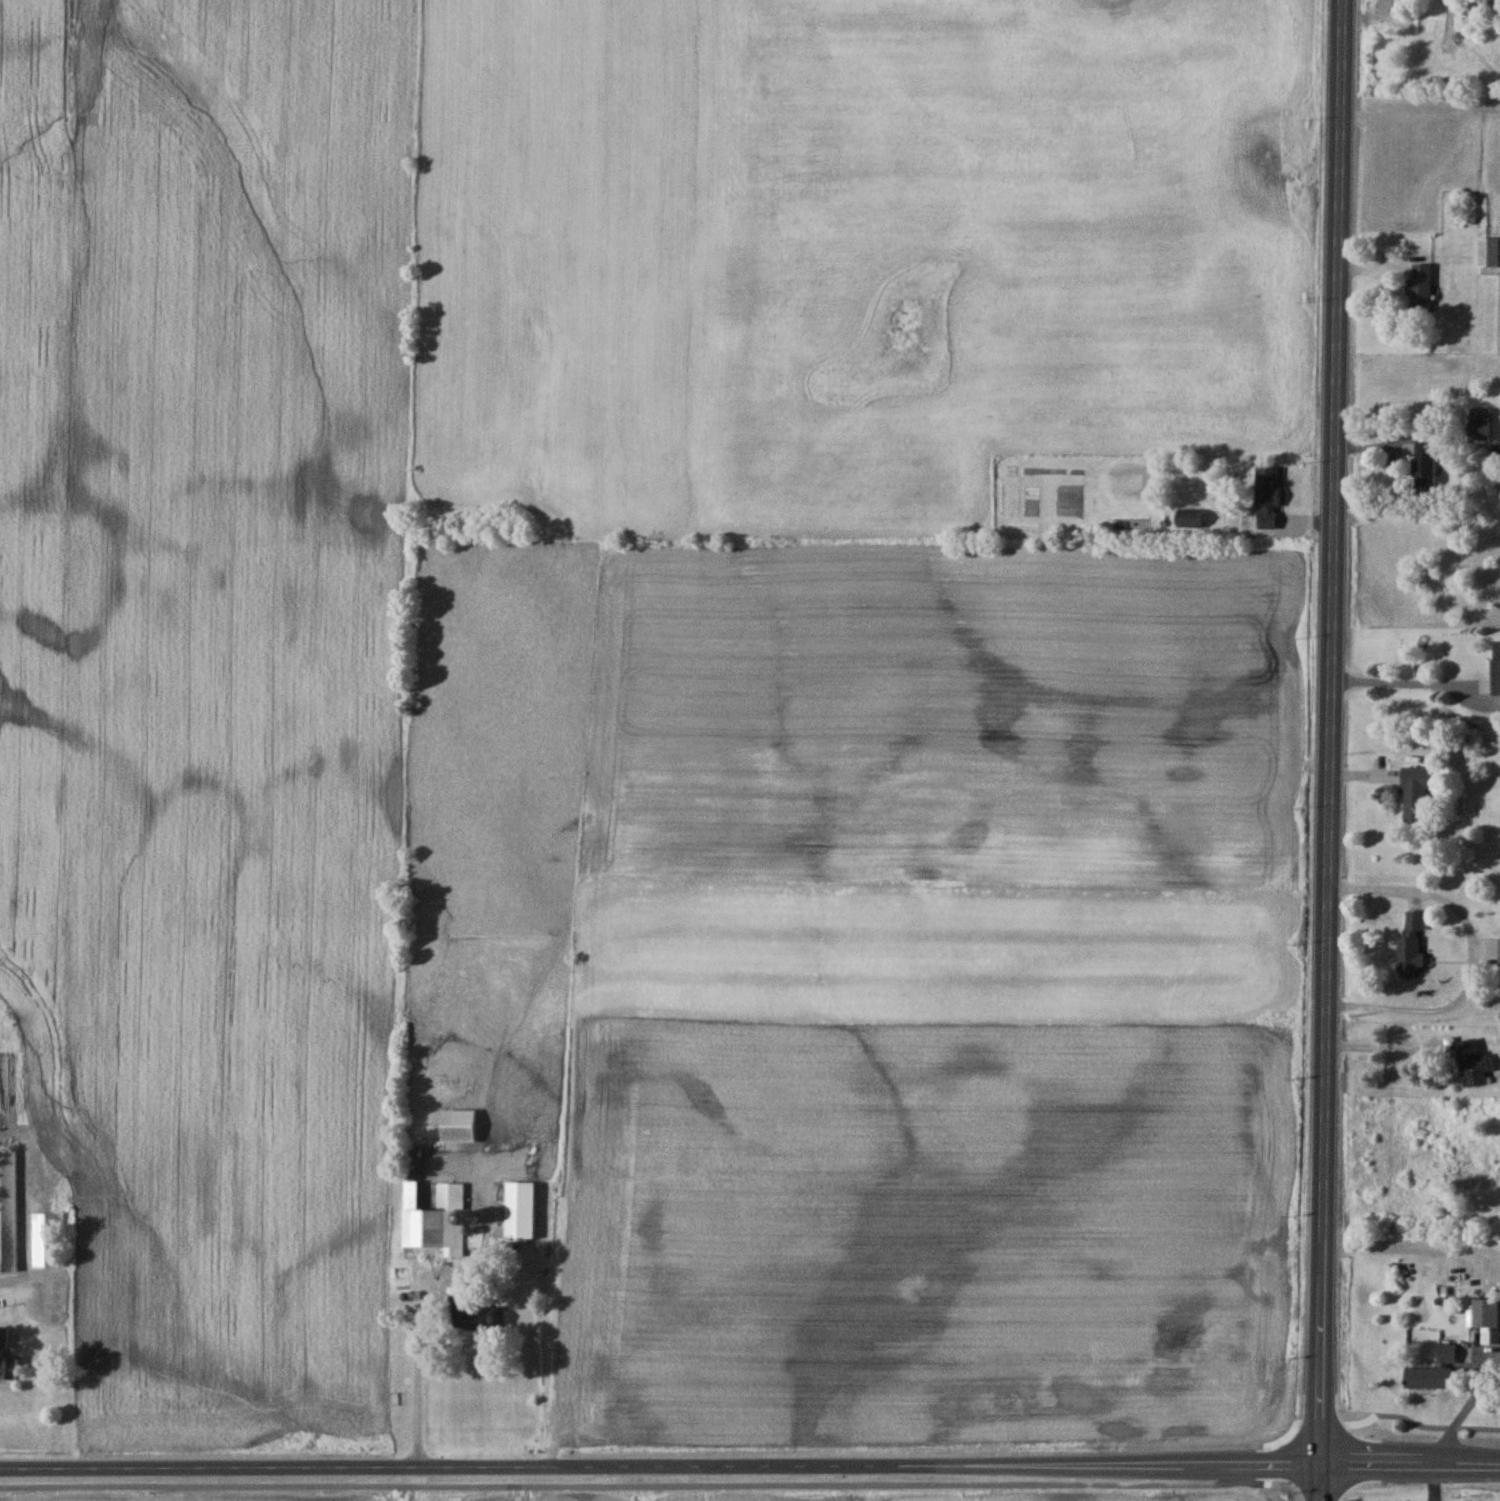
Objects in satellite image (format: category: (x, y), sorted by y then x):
building: (1400, 1)
building: (1494, 9)
building: (1488, 253)
building: (1419, 289)
building: (1479, 412)
building: (1477, 430)
building: (1425, 466)
building: (1267, 496)
building: (1188, 519)
building: (1129, 523)
building: (1495, 667)
road: (1409, 681)
road: (1332, 750)
building: (1415, 793)
building: (1410, 944)
building: (1498, 952)
road: (1471, 954)
road: (1383, 1046)
building: (1472, 1061)
building: (457, 1124)
building: (519, 1209)
building: (437, 1217)
building: (50, 1239)
building: (470, 1314)
building: (1485, 1318)
building: (8, 1357)
building: (1433, 1369)
road: (414, 1381)
road: (1465, 1404)
road: (749, 1466)
road: (778, 1482)
road: (1435, 1483)

